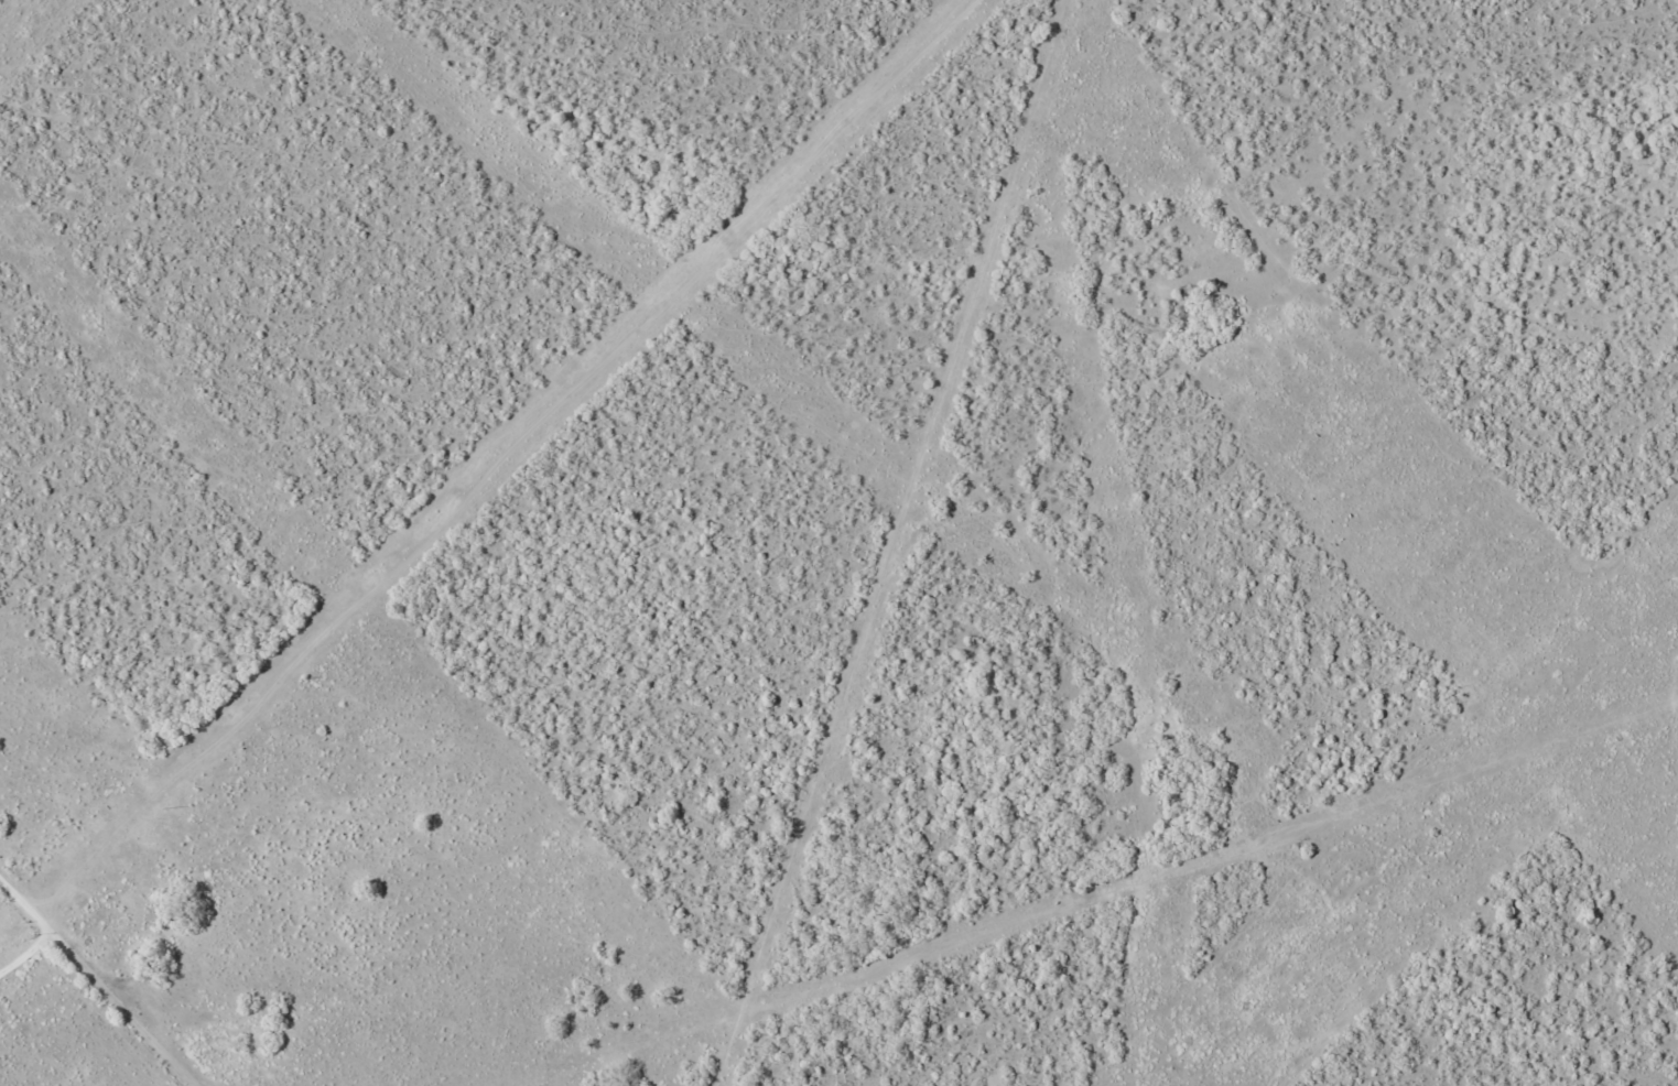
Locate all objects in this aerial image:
road: (89, 990)

